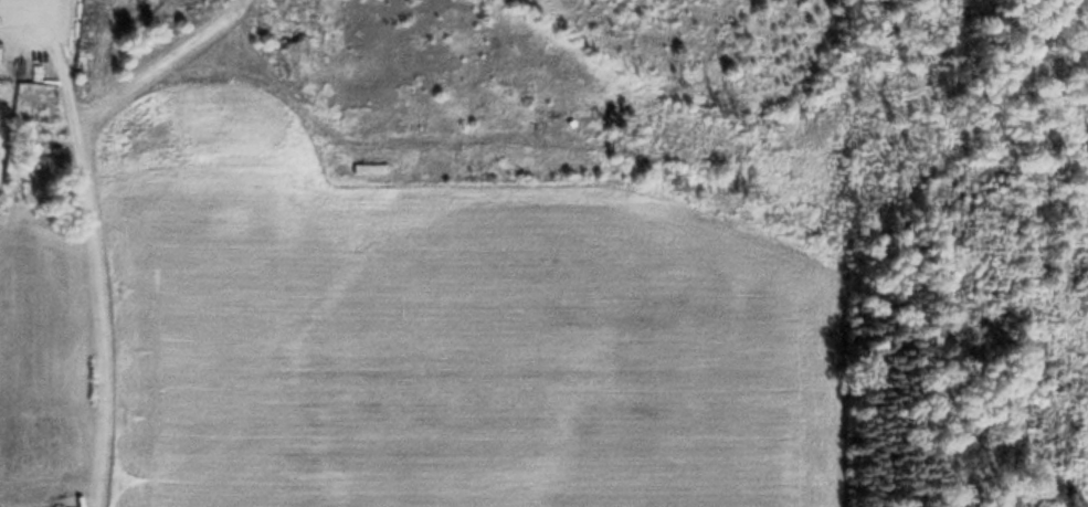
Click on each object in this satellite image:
road: (165, 55)
building: (369, 169)
road: (104, 278)

